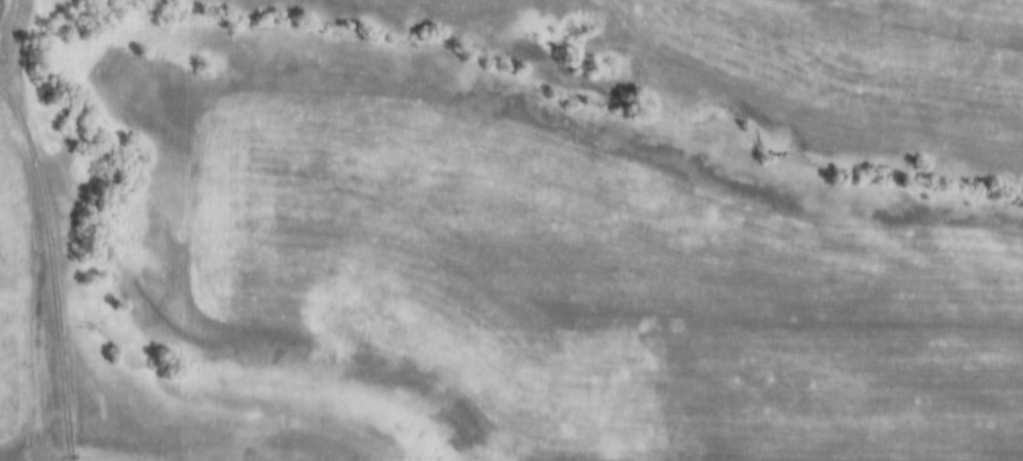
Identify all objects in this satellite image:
road: (55, 265)

